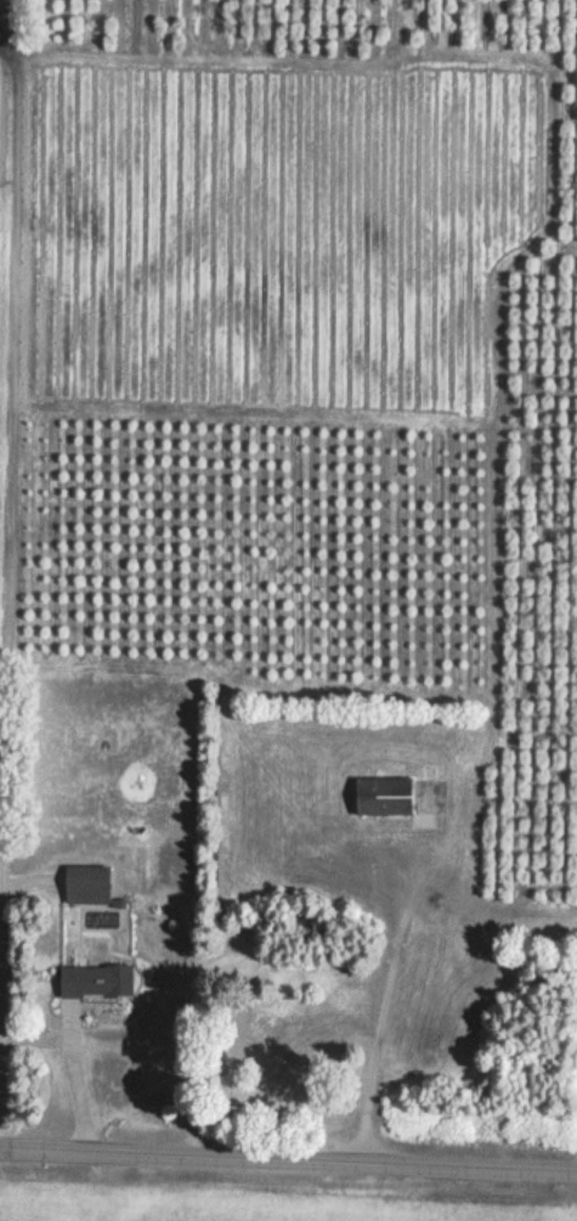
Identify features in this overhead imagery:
building: (379, 798)
building: (83, 887)
building: (92, 983)
building: (431, 1038)
building: (276, 1055)
road: (288, 1166)

